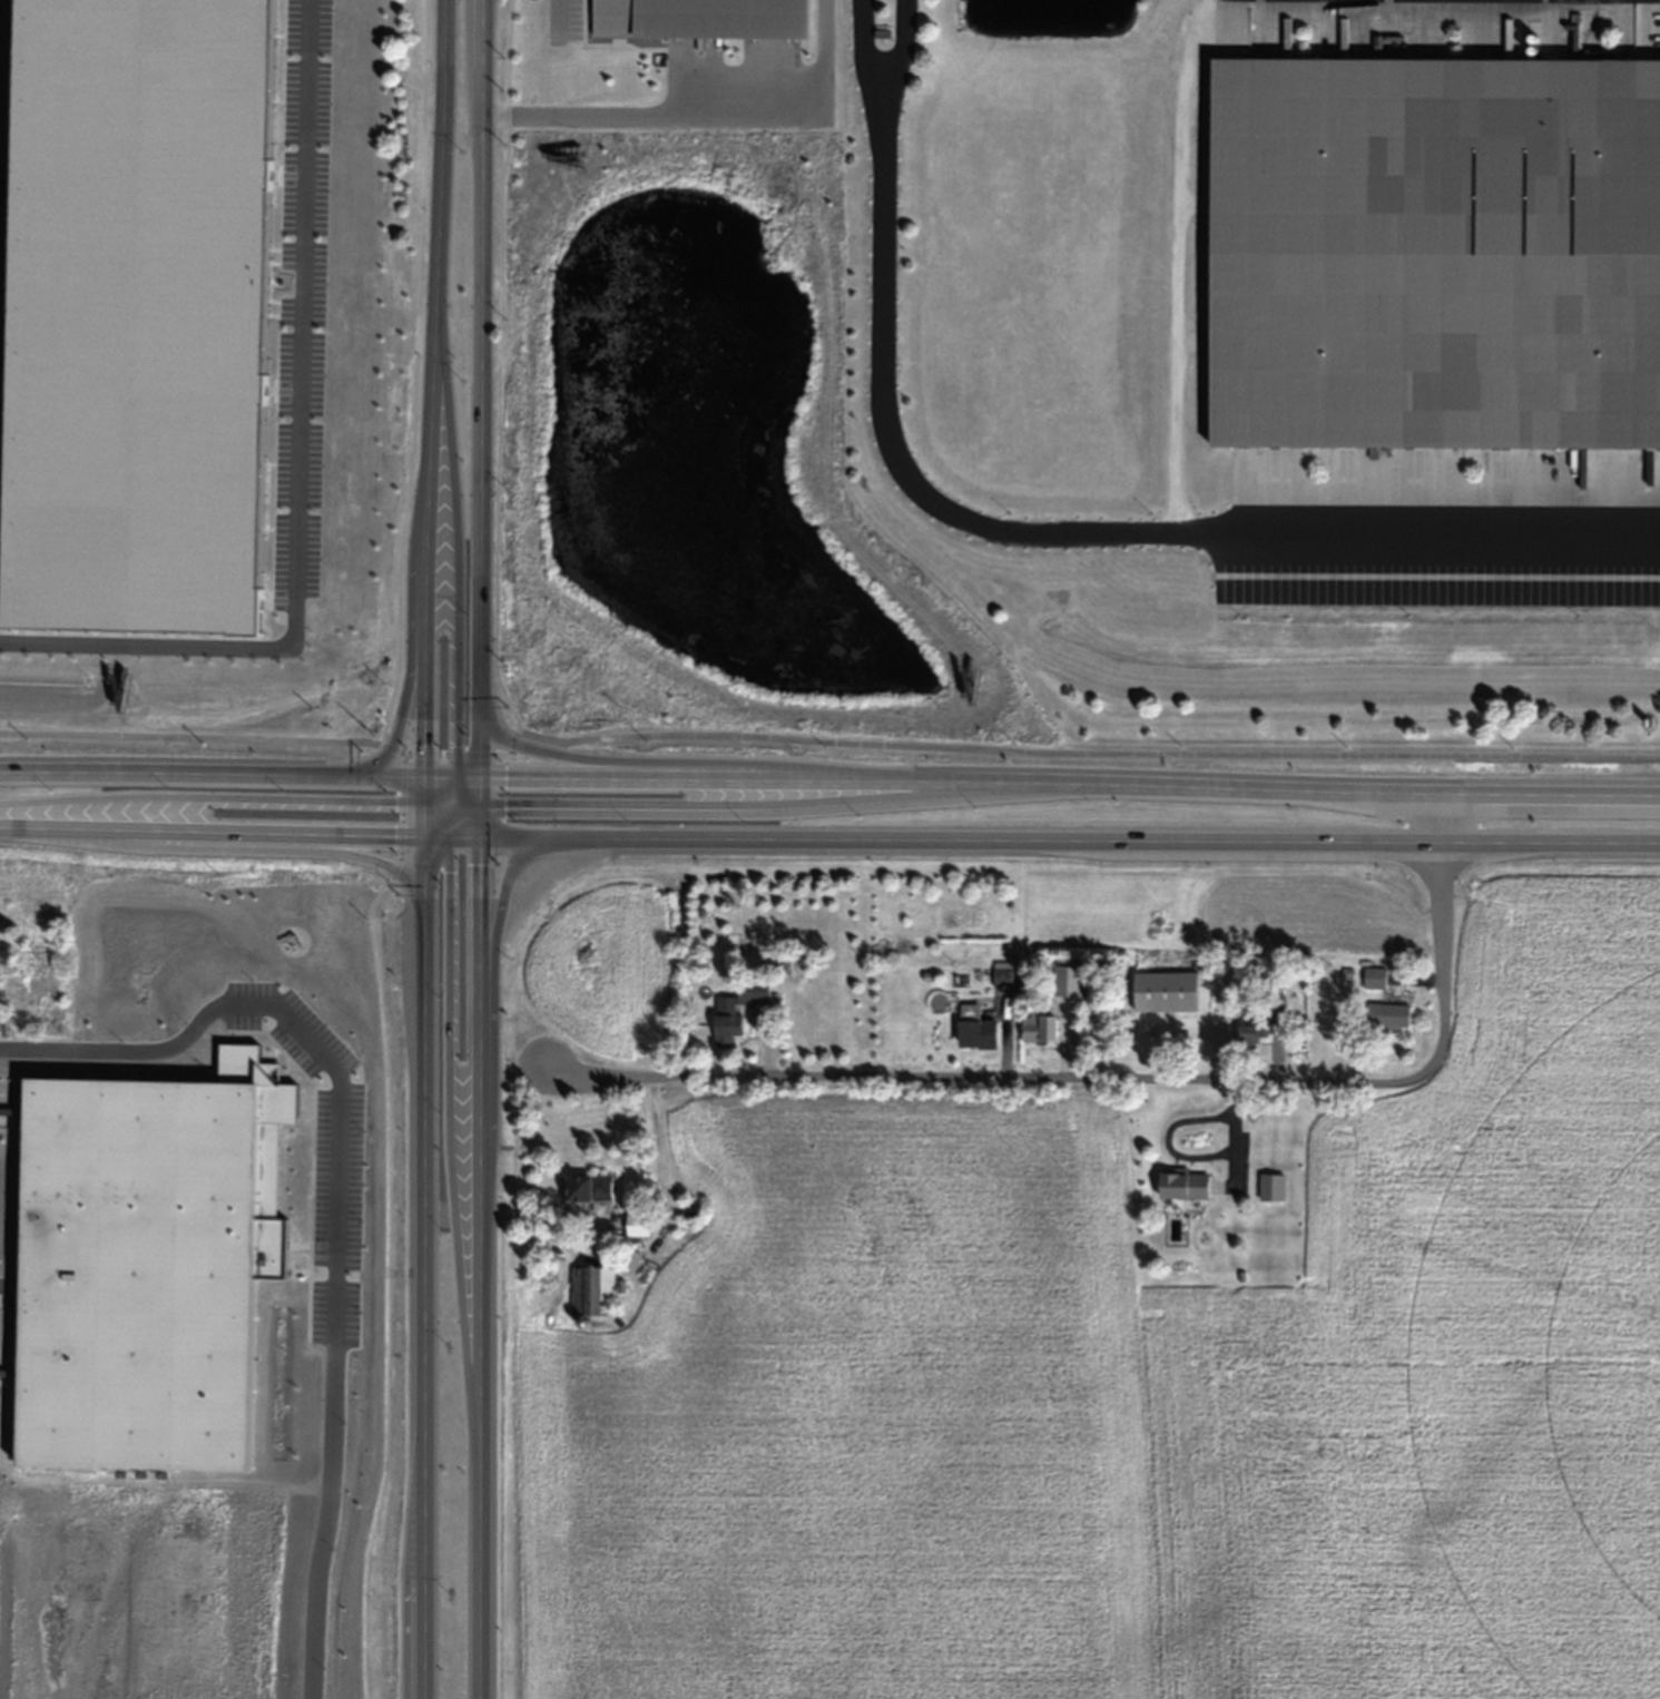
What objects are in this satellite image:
building: (704, 17)
road: (884, 67)
road: (700, 112)
building: (1434, 252)
road: (1177, 266)
road: (430, 387)
road: (478, 389)
road: (370, 465)
road: (458, 529)
road: (1068, 534)
road: (413, 658)
road: (828, 739)
road: (682, 768)
road: (212, 774)
traffic signals: (425, 776)
road: (441, 776)
traffic signals: (458, 777)
road: (466, 777)
traffic signals: (475, 778)
road: (1067, 783)
road: (436, 785)
road: (458, 786)
road: (424, 788)
road: (469, 788)
road: (475, 793)
road: (212, 796)
road: (451, 797)
road: (433, 799)
road: (459, 803)
road: (728, 804)
road: (445, 807)
road: (468, 808)
road: (454, 813)
road: (423, 817)
road: (475, 822)
road: (434, 823)
road: (450, 824)
road: (465, 824)
road: (210, 829)
traffic signals: (422, 834)
road: (436, 834)
traffic signals: (451, 835)
road: (463, 835)
traffic signals: (475, 836)
road: (1068, 837)
road: (243, 846)
road: (422, 865)
road: (1440, 933)
road: (473, 954)
building: (35, 974)
building: (1003, 978)
building: (1376, 978)
building: (1069, 982)
building: (1166, 991)
building: (754, 993)
road: (494, 1015)
building: (1388, 1015)
building: (1040, 1025)
building: (978, 1028)
building: (728, 1030)
building: (1253, 1031)
road: (990, 1083)
road: (452, 1126)
building: (1185, 1185)
building: (589, 1188)
building: (694, 1209)
building: (639, 1226)
building: (595, 1290)
road: (420, 1297)
road: (477, 1385)

